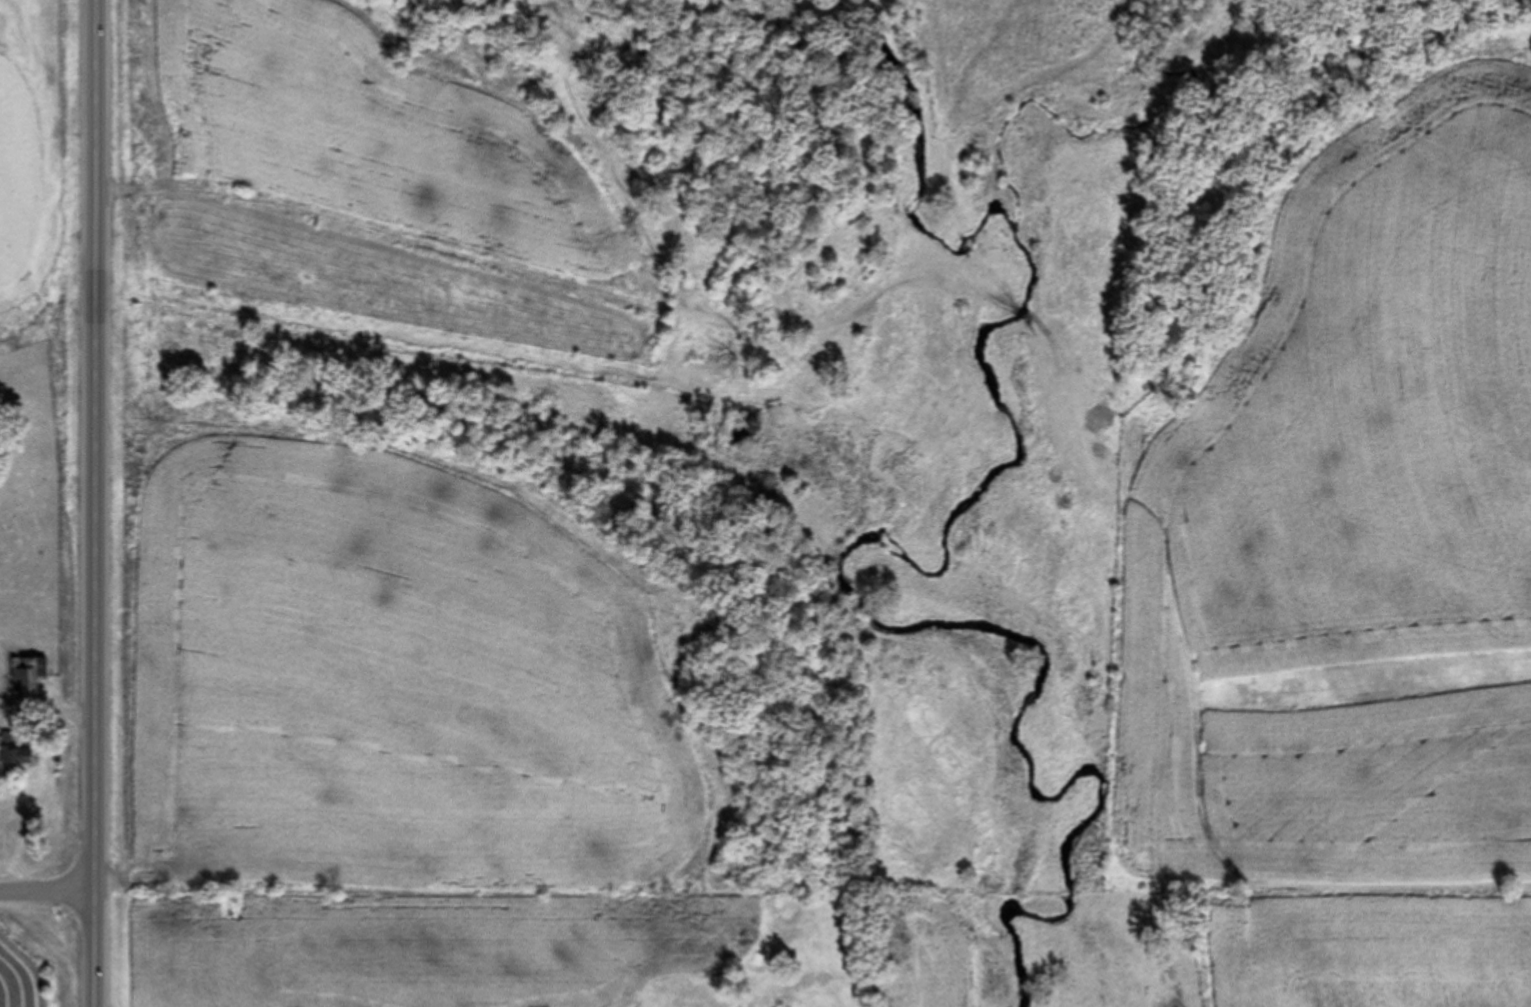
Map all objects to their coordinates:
road: (94, 503)
river: (935, 624)
building: (30, 675)
building: (15, 749)
road: (46, 898)

